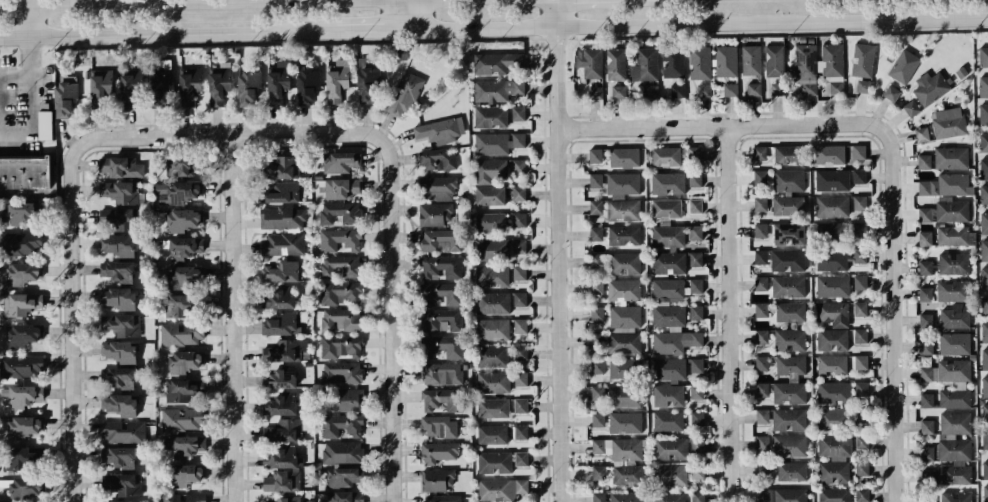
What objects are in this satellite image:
road: (158, 3)
road: (736, 11)
road: (395, 14)
road: (418, 14)
road: (201, 18)
road: (30, 22)
road: (703, 24)
road: (407, 29)
road: (366, 30)
road: (168, 34)
building: (983, 57)
building: (725, 60)
building: (751, 60)
building: (774, 60)
building: (863, 60)
building: (673, 61)
building: (496, 62)
building: (590, 62)
building: (700, 62)
building: (616, 63)
building: (645, 65)
building: (832, 66)
building: (903, 66)
building: (806, 68)
road: (30, 71)
building: (337, 80)
building: (277, 82)
building: (161, 84)
building: (219, 84)
building: (368, 84)
building: (190, 85)
building: (307, 85)
building: (100, 86)
building: (249, 86)
building: (863, 86)
building: (983, 86)
building: (130, 87)
building: (930, 87)
building: (777, 88)
building: (496, 89)
building: (730, 89)
building: (753, 89)
building: (677, 90)
building: (704, 90)
building: (618, 91)
building: (651, 91)
building: (595, 92)
building: (891, 92)
building: (404, 94)
building: (65, 95)
building: (911, 108)
building: (518, 113)
building: (983, 114)
building: (491, 117)
road: (30, 119)
road: (763, 122)
building: (948, 122)
building: (45, 125)
building: (440, 130)
road: (169, 134)
building: (922, 134)
building: (497, 142)
building: (983, 143)
building: (859, 151)
building: (694, 153)
building: (759, 153)
building: (786, 154)
building: (595, 155)
building: (830, 155)
building: (665, 156)
building: (624, 157)
building: (951, 157)
building: (438, 159)
building: (340, 161)
building: (924, 161)
building: (182, 165)
building: (120, 167)
building: (282, 167)
building: (518, 167)
building: (983, 168)
building: (489, 170)
building: (24, 172)
building: (859, 176)
building: (760, 177)
building: (694, 179)
building: (596, 180)
building: (788, 180)
building: (832, 180)
building: (668, 183)
building: (622, 184)
building: (946, 185)
building: (342, 188)
building: (437, 188)
building: (120, 192)
building: (179, 192)
building: (282, 192)
building: (519, 192)
building: (489, 194)
building: (984, 194)
building: (859, 202)
building: (760, 203)
building: (787, 205)
building: (695, 206)
building: (832, 206)
building: (666, 208)
building: (615, 209)
building: (952, 210)
building: (21, 212)
building: (339, 212)
building: (435, 214)
building: (926, 214)
building: (282, 217)
building: (118, 219)
building: (183, 219)
building: (519, 219)
building: (490, 221)
building: (984, 223)
building: (760, 230)
building: (842, 230)
building: (596, 233)
building: (695, 233)
building: (789, 234)
building: (624, 235)
building: (925, 237)
building: (339, 239)
building: (439, 239)
building: (21, 243)
building: (282, 244)
building: (118, 245)
building: (519, 245)
building: (185, 247)
building: (492, 249)
road: (561, 250)
building: (668, 250)
building: (984, 250)
road: (237, 252)
building: (860, 255)
building: (761, 256)
building: (695, 259)
building: (597, 260)
building: (787, 260)
building: (832, 260)
building: (624, 263)
building: (954, 263)
building: (340, 265)
building: (441, 266)
building: (925, 267)
building: (117, 270)
building: (280, 272)
building: (519, 272)
building: (23, 273)
building: (492, 275)
building: (186, 276)
building: (984, 277)
building: (761, 283)
building: (860, 283)
building: (696, 285)
building: (833, 285)
building: (597, 286)
building: (788, 286)
road: (397, 287)
building: (624, 289)
building: (952, 290)
building: (341, 292)
building: (443, 292)
building: (925, 293)
building: (279, 297)
building: (116, 298)
building: (519, 299)
building: (492, 302)
building: (20, 303)
building: (984, 306)
building: (860, 309)
building: (761, 310)
building: (790, 311)
building: (696, 312)
road: (733, 312)
building: (597, 313)
building: (833, 313)
building: (955, 317)
building: (671, 318)
building: (340, 319)
building: (440, 319)
building: (925, 320)
building: (282, 323)
building: (122, 324)
building: (520, 325)
building: (492, 329)
building: (625, 329)
building: (984, 332)
building: (181, 333)
building: (23, 334)
building: (860, 335)
building: (761, 336)
building: (597, 339)
building: (790, 339)
building: (832, 339)
building: (954, 343)
building: (341, 346)
building: (442, 346)
building: (926, 346)
building: (285, 350)
building: (119, 351)
building: (520, 352)
road: (898, 352)
building: (492, 356)
building: (984, 359)
building: (185, 360)
building: (861, 362)
building: (762, 363)
building: (832, 363)
building: (696, 365)
building: (21, 366)
building: (597, 366)
building: (624, 367)
building: (669, 369)
building: (342, 371)
building: (442, 373)
building: (118, 377)
building: (280, 377)
building: (520, 378)
building: (790, 380)
road: (72, 382)
building: (493, 382)
building: (961, 384)
building: (985, 386)
building: (861, 388)
building: (762, 389)
building: (184, 390)
building: (696, 391)
building: (834, 391)
building: (22, 394)
building: (617, 395)
building: (668, 395)
building: (351, 399)
building: (442, 399)
building: (926, 400)
building: (120, 404)
building: (280, 404)
building: (520, 405)
building: (493, 407)
building: (985, 413)
building: (762, 415)
building: (861, 415)
building: (697, 418)
building: (833, 418)
building: (181, 419)
building: (598, 419)
building: (789, 419)
building: (668, 421)
building: (625, 422)
building: (341, 425)
building: (23, 426)
building: (439, 426)
building: (927, 426)
building: (284, 430)
building: (123, 431)
building: (521, 431)
building: (492, 434)
road: (239, 436)
building: (985, 439)
building: (861, 441)
building: (762, 442)
building: (187, 445)
building: (789, 445)
building: (697, 446)
building: (955, 447)
building: (619, 448)
building: (671, 448)
building: (439, 451)
building: (341, 452)
building: (927, 453)
building: (119, 456)
building: (22, 457)
building: (282, 458)
building: (521, 458)
building: (834, 458)
building: (494, 461)
building: (862, 468)
building: (985, 468)
building: (763, 469)
building: (697, 471)
building: (791, 471)
building: (598, 472)
building: (186, 474)
road: (399, 475)
building: (628, 475)
building: (670, 475)
building: (927, 475)
building: (343, 476)
building: (437, 479)
building: (282, 481)
building: (123, 483)
building: (501, 488)
building: (985, 493)
building: (834, 494)
building: (862, 494)
building: (782, 495)
building: (626, 496)
building: (669, 496)
building: (698, 496)
building: (956, 496)
building: (184, 497)
building: (598, 497)
building: (443, 498)
building: (285, 499)
building: (927, 500)
building: (132, 501)

